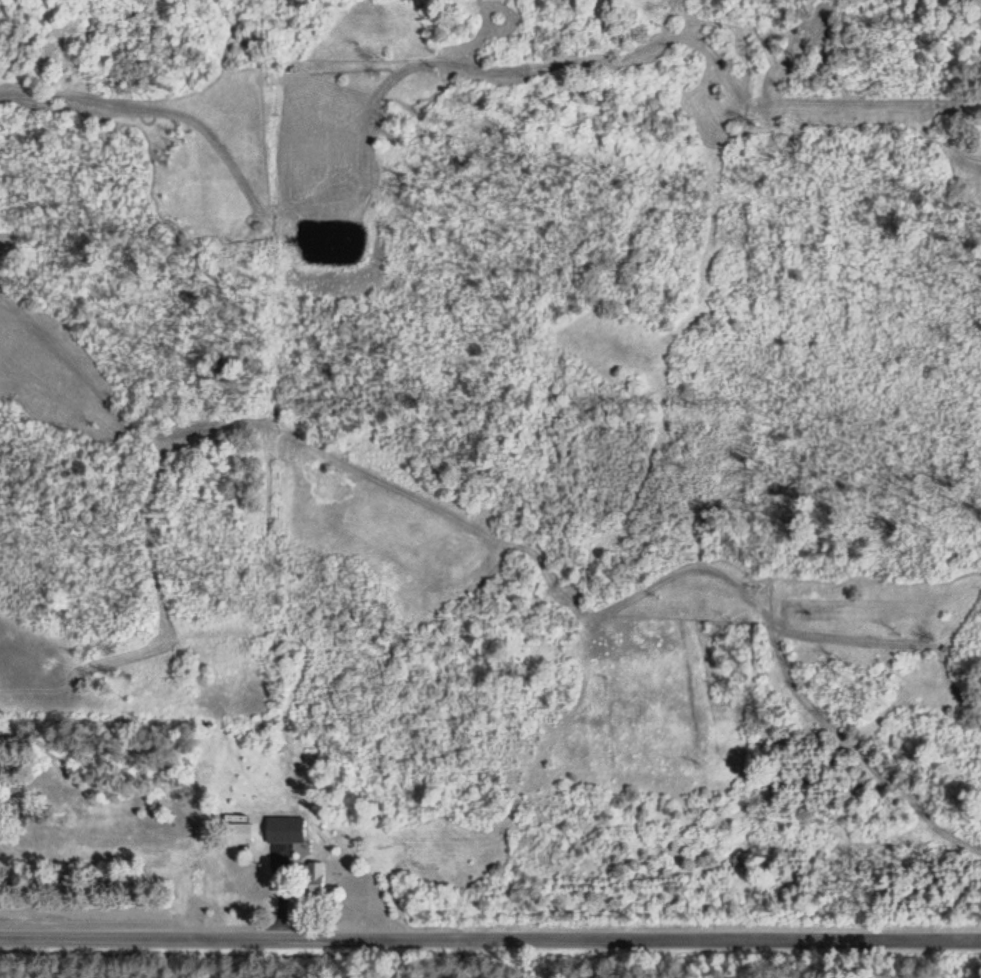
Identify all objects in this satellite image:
building: (284, 830)
building: (238, 833)
building: (308, 882)
road: (490, 938)

